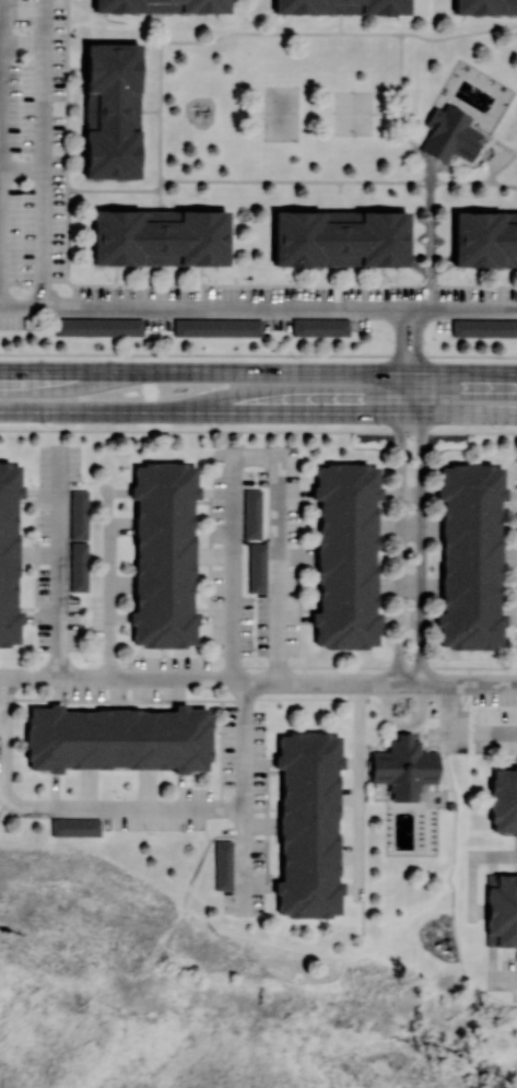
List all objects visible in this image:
building: (484, 5)
building: (161, 7)
building: (340, 8)
road: (339, 23)
road: (337, 32)
road: (399, 104)
road: (148, 109)
road: (158, 110)
road: (386, 112)
building: (108, 113)
park: (352, 113)
park: (281, 114)
building: (451, 134)
road: (502, 144)
road: (44, 153)
road: (501, 166)
road: (338, 179)
road: (101, 188)
road: (428, 232)
building: (158, 236)
building: (339, 237)
building: (483, 239)
road: (150, 284)
road: (209, 308)
road: (468, 309)
building: (101, 329)
building: (322, 329)
building: (220, 330)
building: (485, 331)
road: (399, 340)
road: (418, 340)
street lamp: (127, 359)
street lamp: (295, 360)
road: (54, 371)
road: (255, 371)
road: (409, 372)
road: (467, 373)
road: (400, 393)
road: (420, 393)
road: (103, 411)
road: (303, 412)
road: (411, 413)
road: (469, 413)
street lamp: (213, 426)
street lamp: (47, 428)
street lamp: (381, 429)
street lamp: (494, 429)
street lamp: (413, 441)
road: (255, 457)
street lamp: (84, 483)
street lamp: (256, 483)
street lamp: (34, 487)
road: (42, 493)
road: (216, 494)
road: (295, 494)
road: (513, 495)
road: (410, 496)
road: (27, 502)
road: (202, 504)
road: (312, 504)
road: (507, 505)
street lamp: (412, 510)
building: (255, 516)
building: (81, 517)
road: (410, 529)
street lamp: (34, 545)
road: (400, 548)
road: (421, 549)
road: (36, 555)
building: (166, 557)
road: (211, 557)
road: (302, 557)
building: (349, 557)
building: (10, 558)
road: (514, 558)
building: (473, 559)
road: (59, 565)
building: (81, 570)
building: (260, 571)
road: (109, 585)
road: (410, 587)
street lamp: (256, 601)
street lamp: (412, 606)
road: (27, 609)
road: (203, 610)
road: (313, 611)
road: (507, 612)
road: (43, 619)
road: (218, 619)
road: (296, 620)
road: (410, 620)
road: (513, 621)
street lamp: (34, 625)
street lamp: (255, 651)
street lamp: (165, 656)
street lamp: (86, 660)
street lamp: (412, 660)
road: (351, 666)
road: (492, 667)
road: (28, 680)
road: (149, 681)
road: (317, 682)
road: (421, 686)
road: (483, 686)
street lamp: (33, 689)
road: (269, 698)
road: (69, 704)
road: (174, 705)
flagpole: (374, 714)
road: (448, 718)
road: (403, 726)
parking lot: (451, 733)
road: (500, 734)
road: (423, 736)
road: (435, 736)
building: (119, 739)
road: (244, 746)
street lamp: (272, 757)
road: (444, 759)
street lamp: (512, 759)
road: (260, 763)
building: (404, 768)
road: (277, 772)
street lamp: (197, 787)
road: (4, 789)
road: (359, 791)
road: (449, 791)
street lamp: (39, 797)
street lamp: (119, 797)
building: (505, 803)
building: (451, 807)
road: (174, 810)
street lamp: (273, 811)
building: (313, 824)
road: (268, 826)
building: (77, 829)
street lamp: (150, 834)
road: (244, 861)
building: (225, 866)
road: (473, 866)
street lamp: (272, 876)
road: (278, 879)
building: (492, 882)
road: (261, 889)
road: (455, 892)
building: (503, 912)
building: (492, 941)
street lamp: (509, 959)
road: (503, 979)

